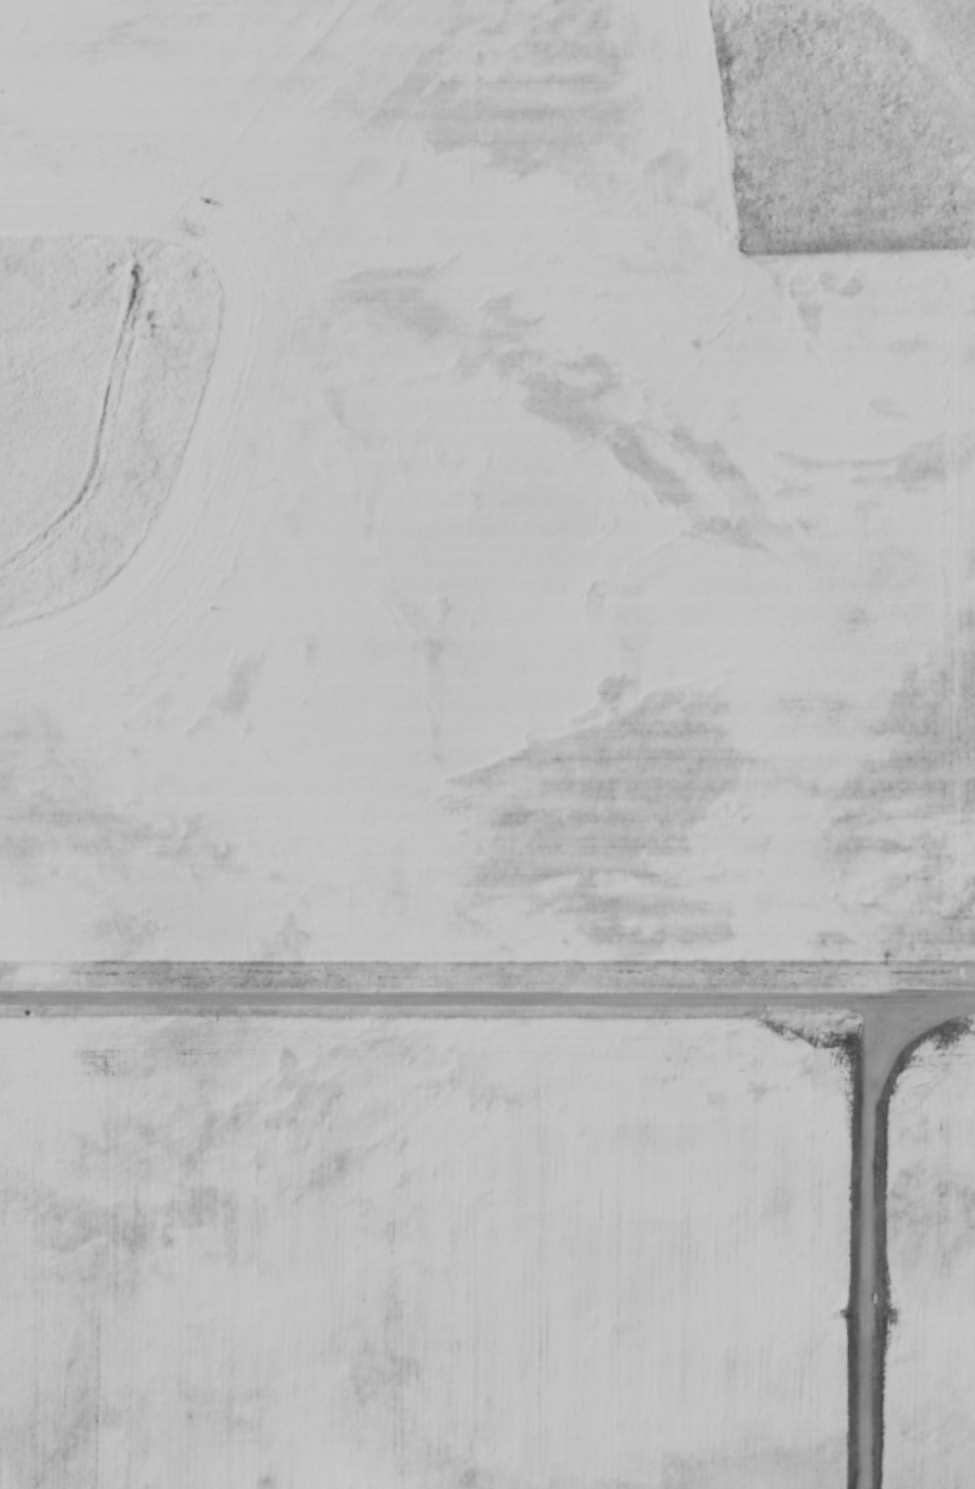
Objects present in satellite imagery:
road: (487, 997)

